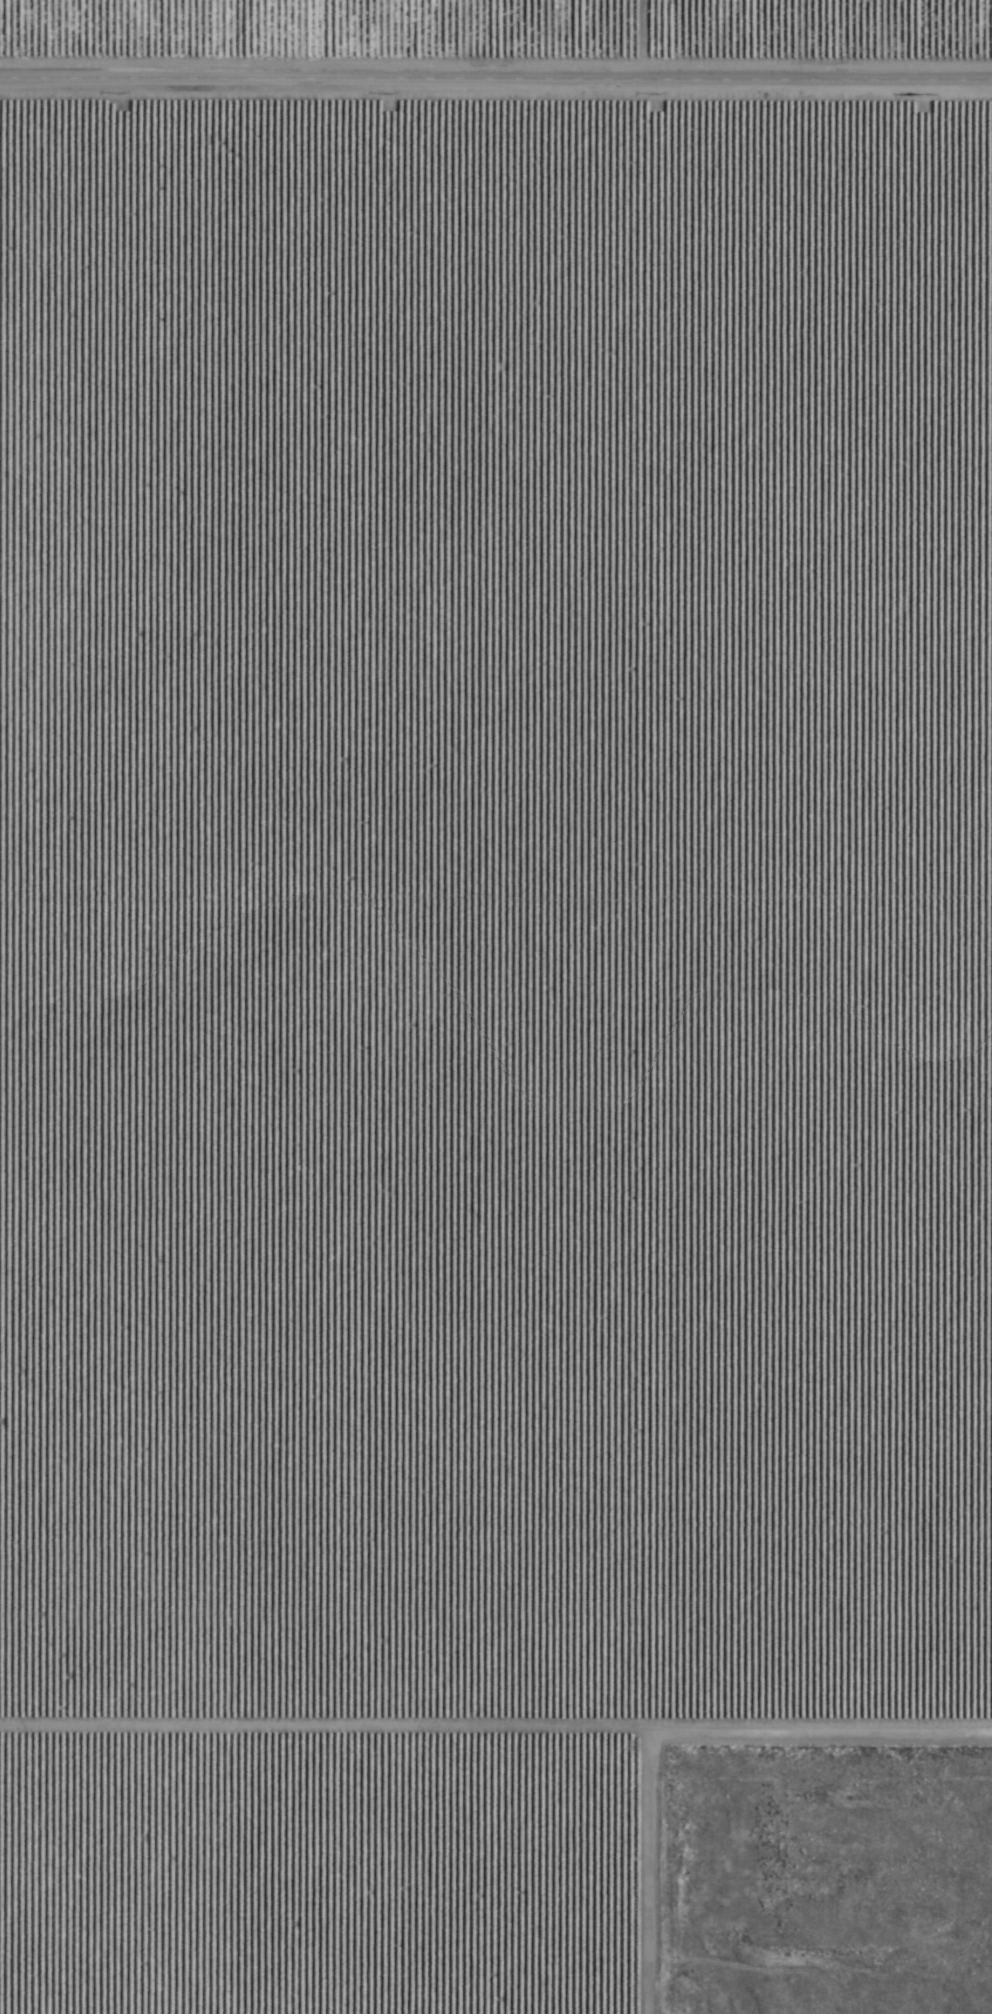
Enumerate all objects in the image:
road: (496, 85)
crop: (478, 961)
road: (496, 1741)

